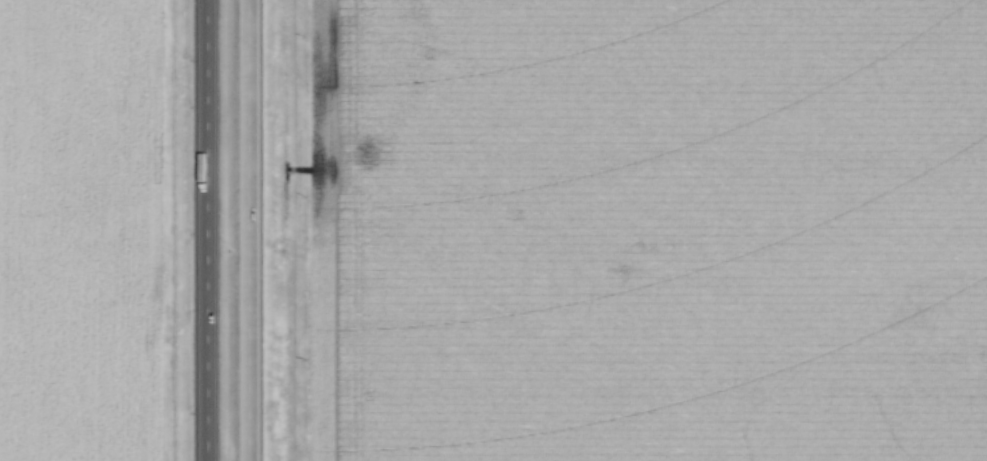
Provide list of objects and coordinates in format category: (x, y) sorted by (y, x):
road: (205, 230)
road: (246, 230)

